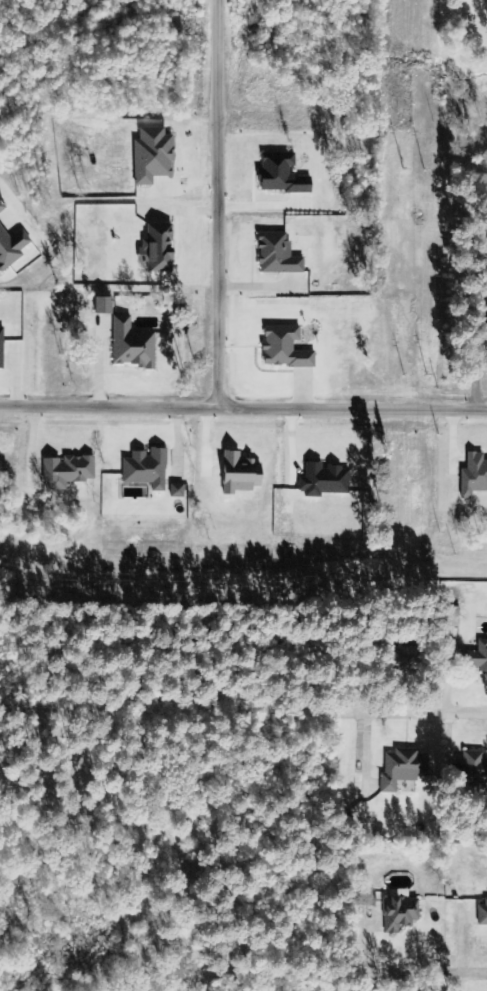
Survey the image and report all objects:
building: (154, 155)
building: (282, 174)
building: (2, 205)
building: (12, 247)
building: (160, 249)
building: (279, 254)
building: (106, 306)
building: (132, 345)
building: (1, 347)
building: (285, 348)
road: (243, 402)
building: (147, 469)
building: (68, 471)
building: (241, 473)
building: (474, 475)
building: (326, 480)
building: (178, 491)
building: (480, 656)
road: (420, 711)
building: (474, 761)
building: (403, 767)
building: (400, 910)
building: (482, 914)
road: (425, 975)

